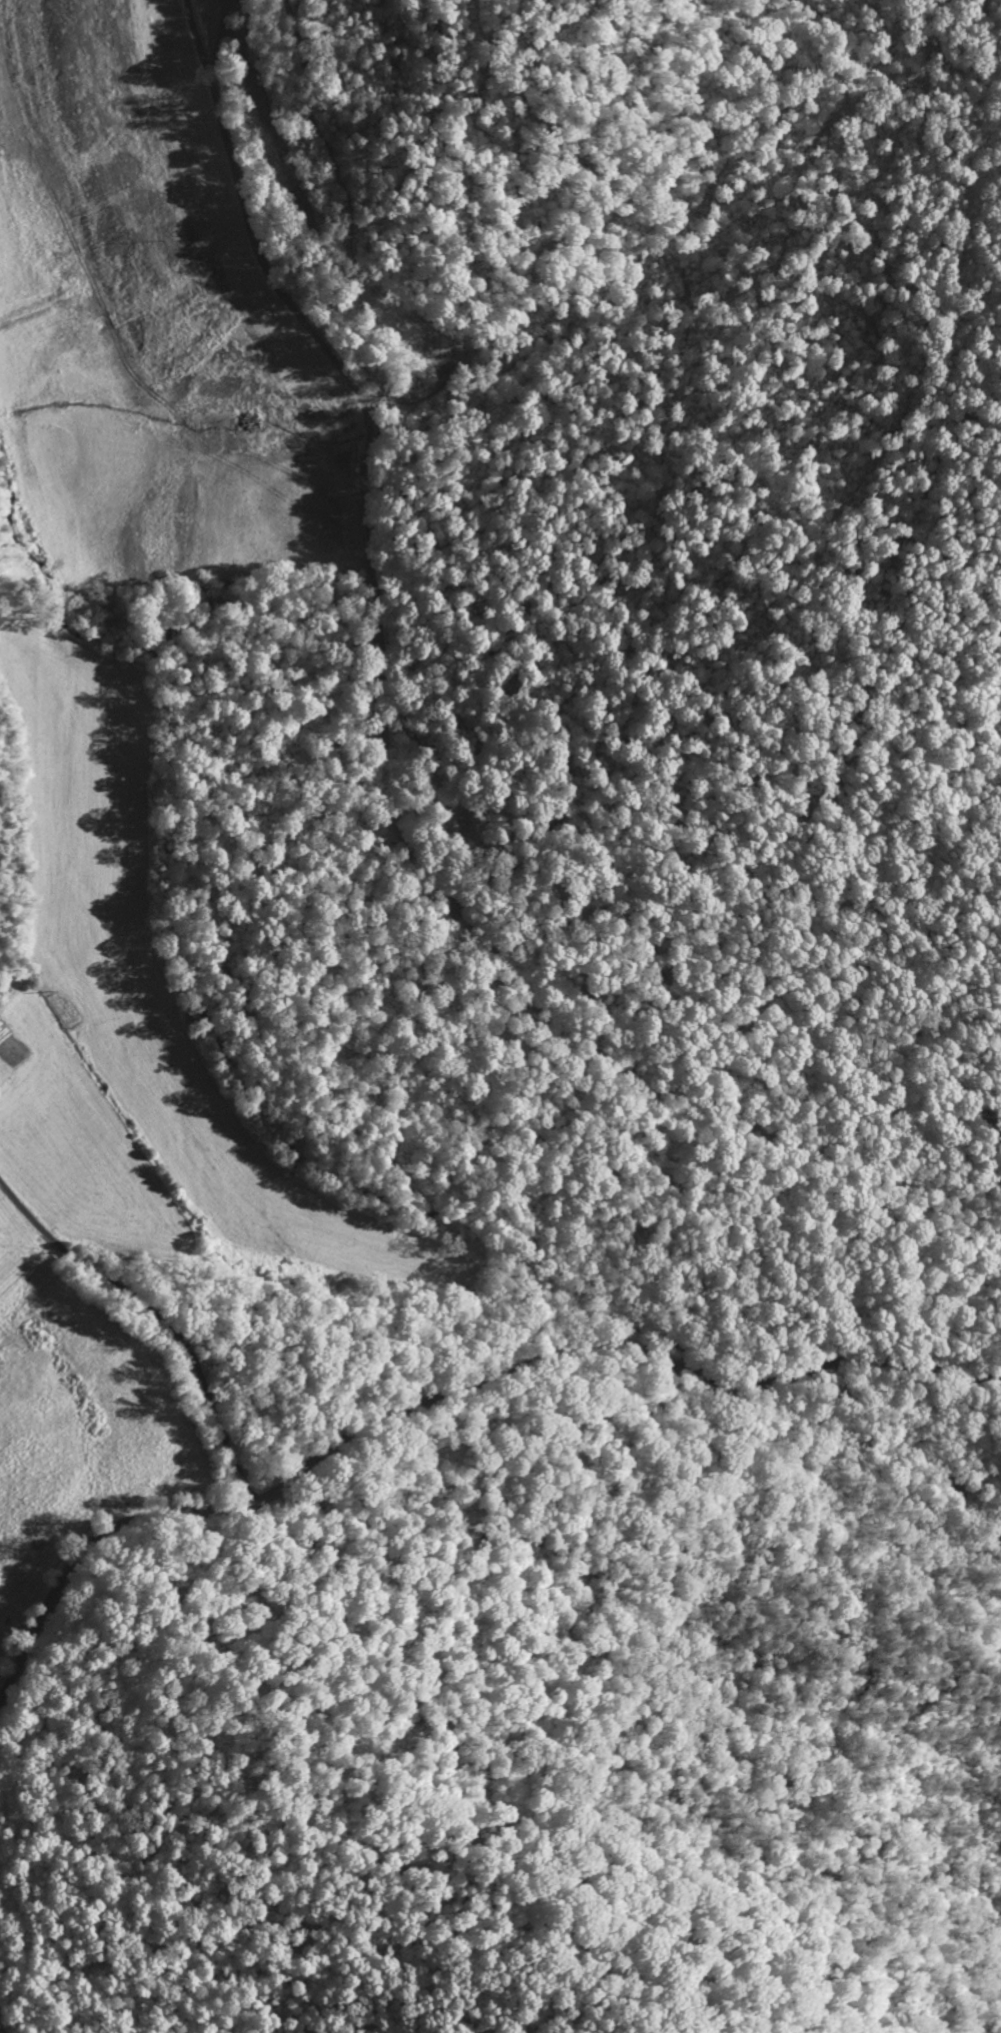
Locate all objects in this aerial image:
road: (390, 764)
road: (154, 1319)
road: (446, 1395)
road: (716, 1625)
road: (6, 2026)

